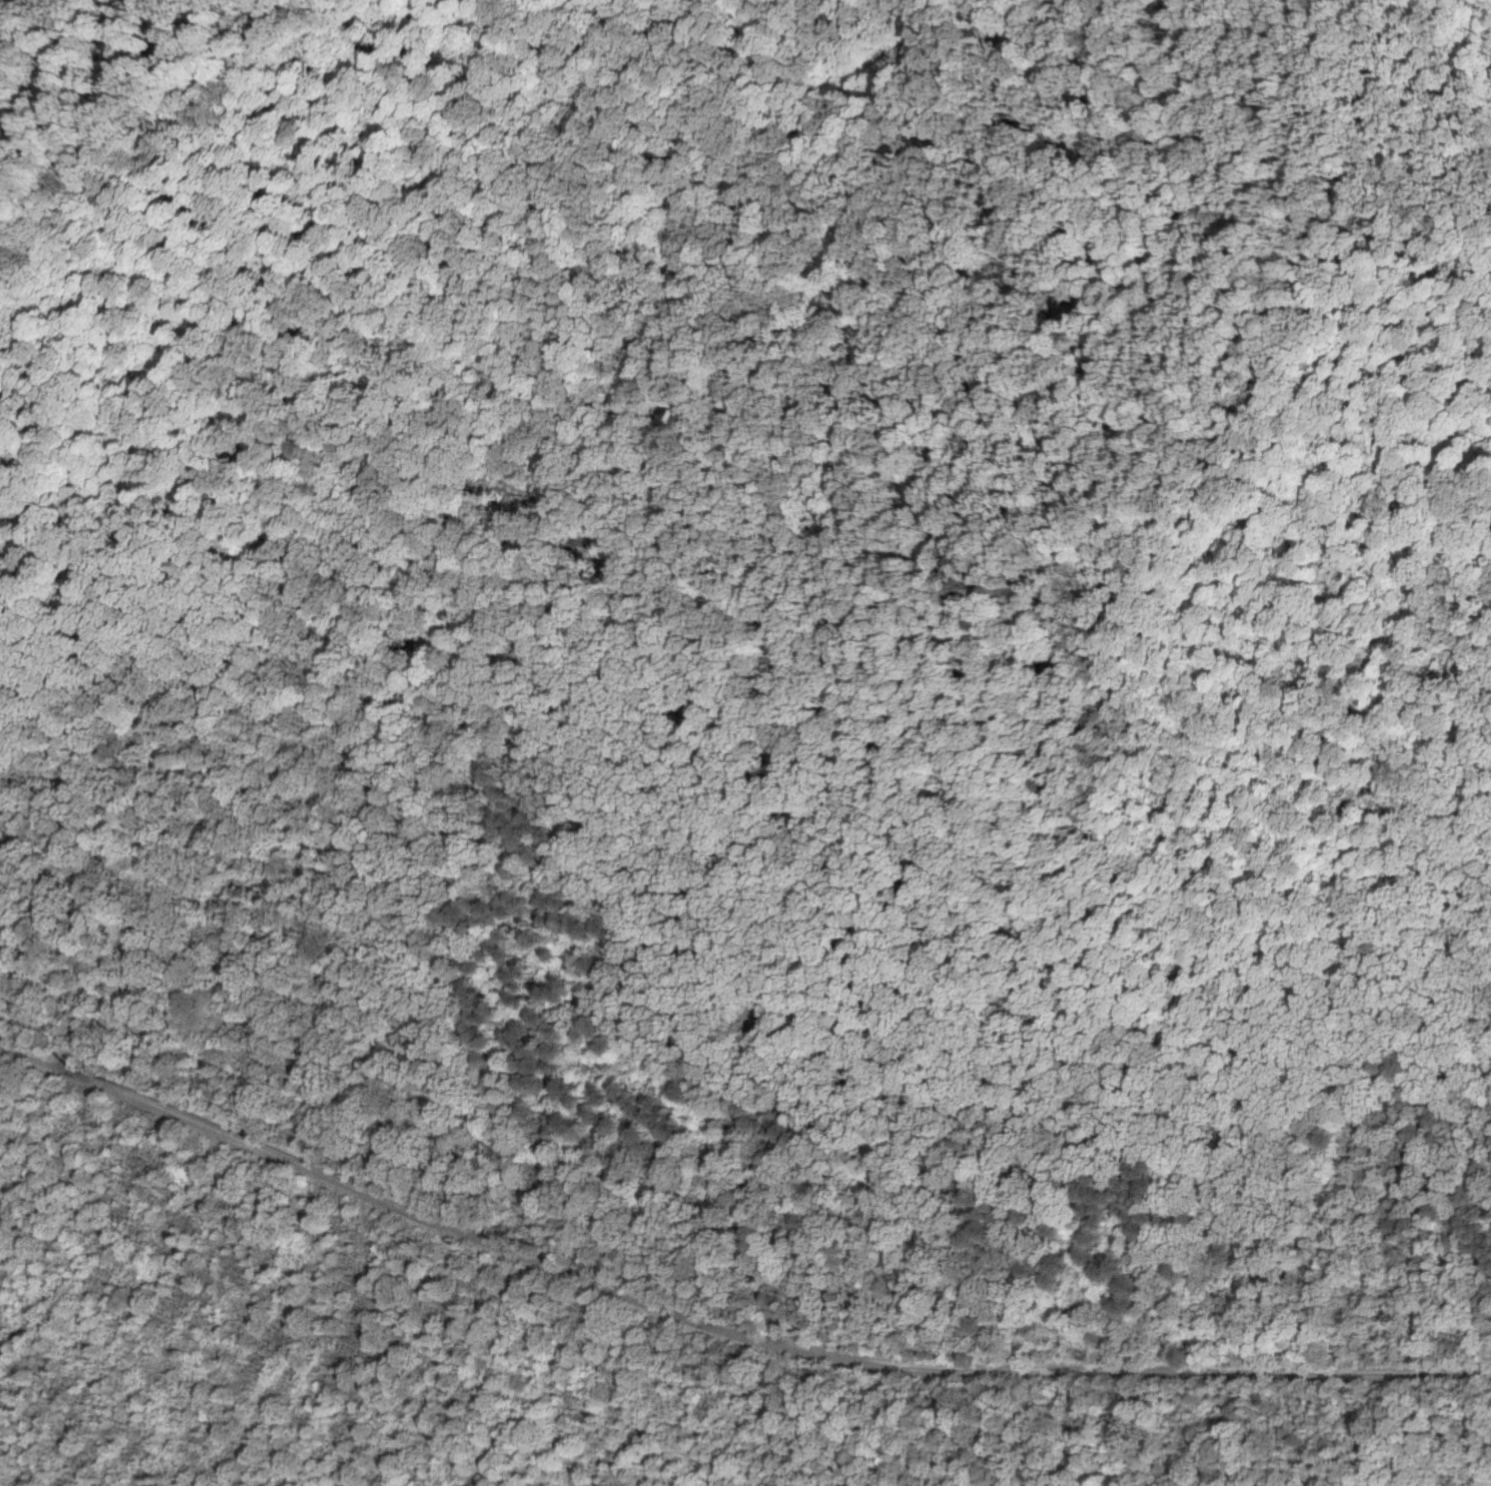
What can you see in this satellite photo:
road: (720, 1329)

